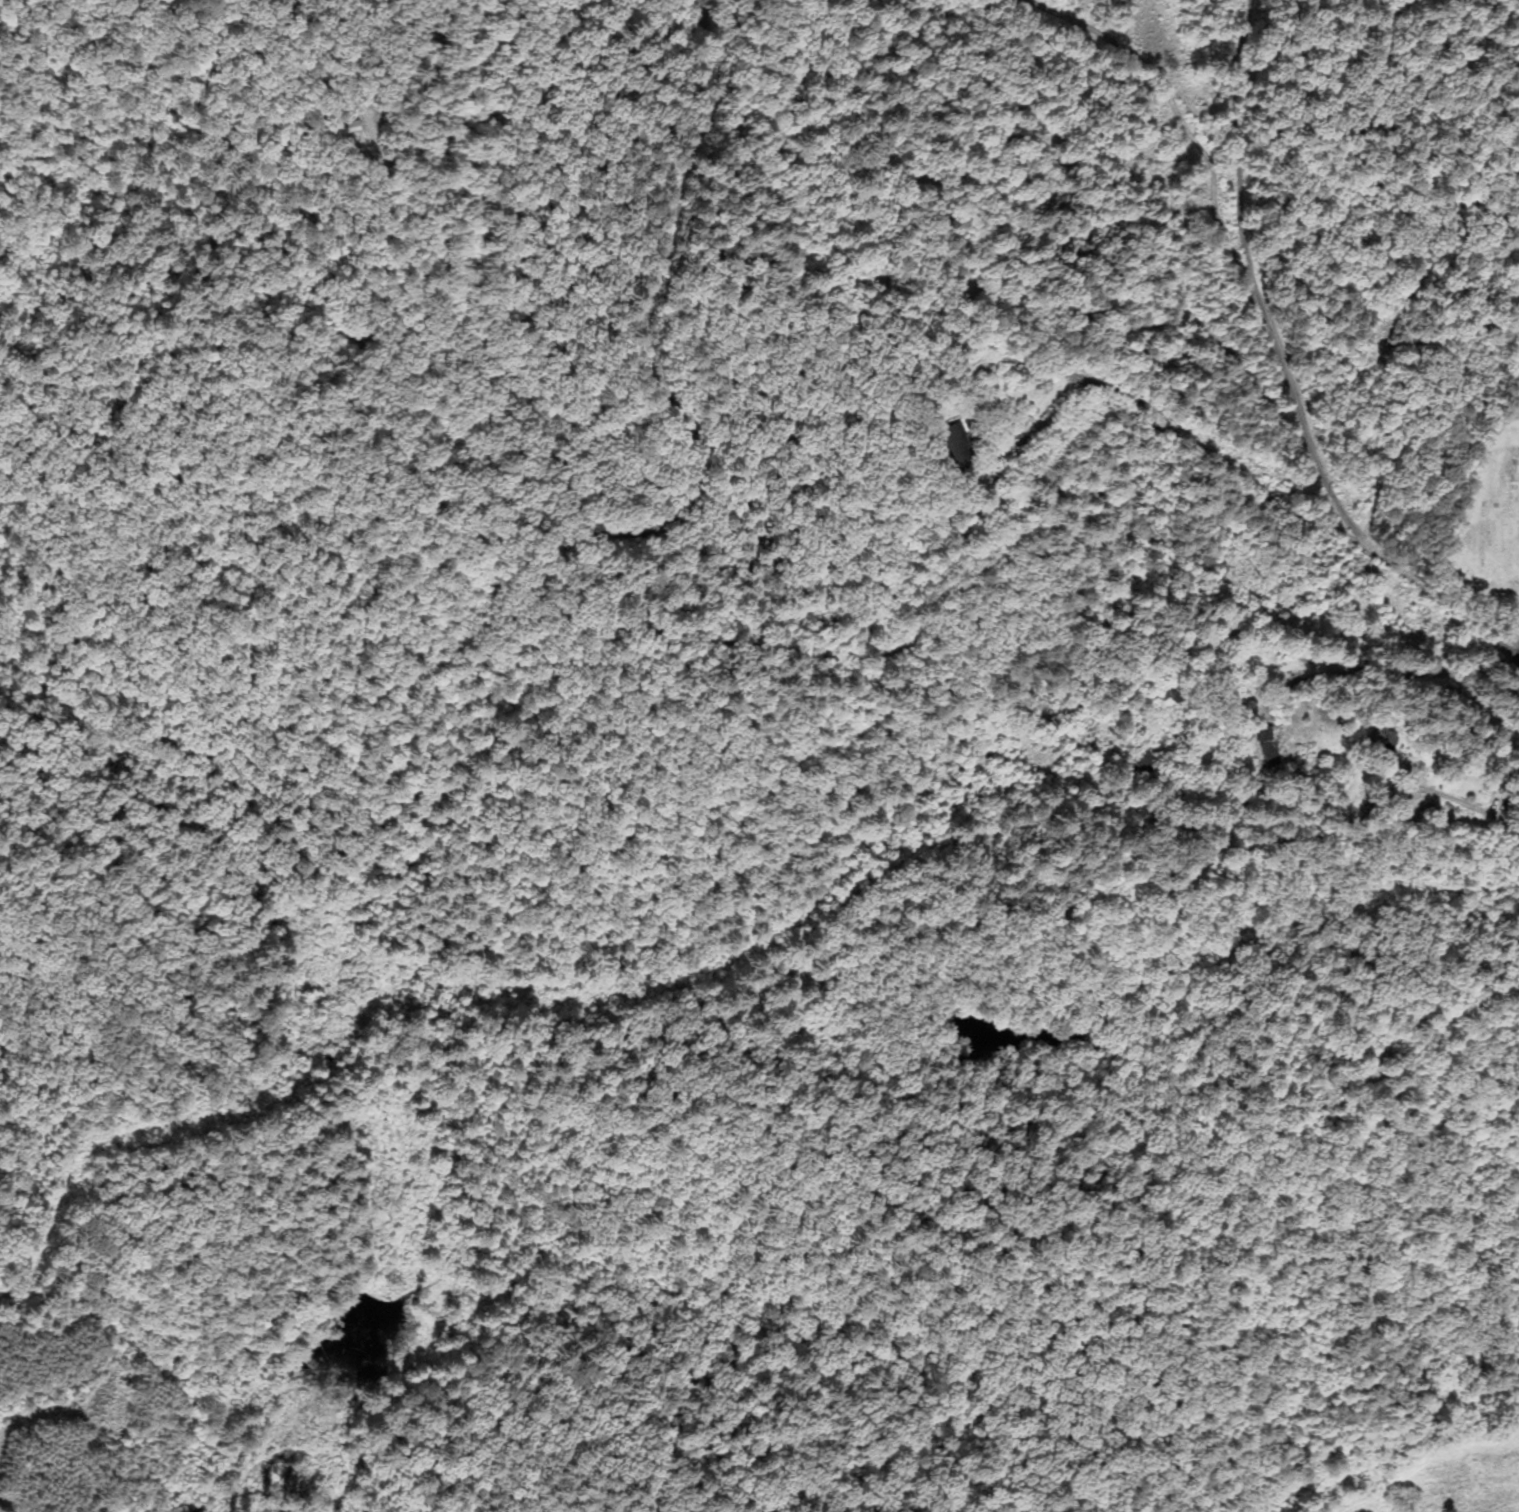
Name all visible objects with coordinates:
road: (1234, 70)
road: (1184, 118)
road: (1313, 432)
park: (1483, 526)
road: (1517, 644)
road: (754, 925)

